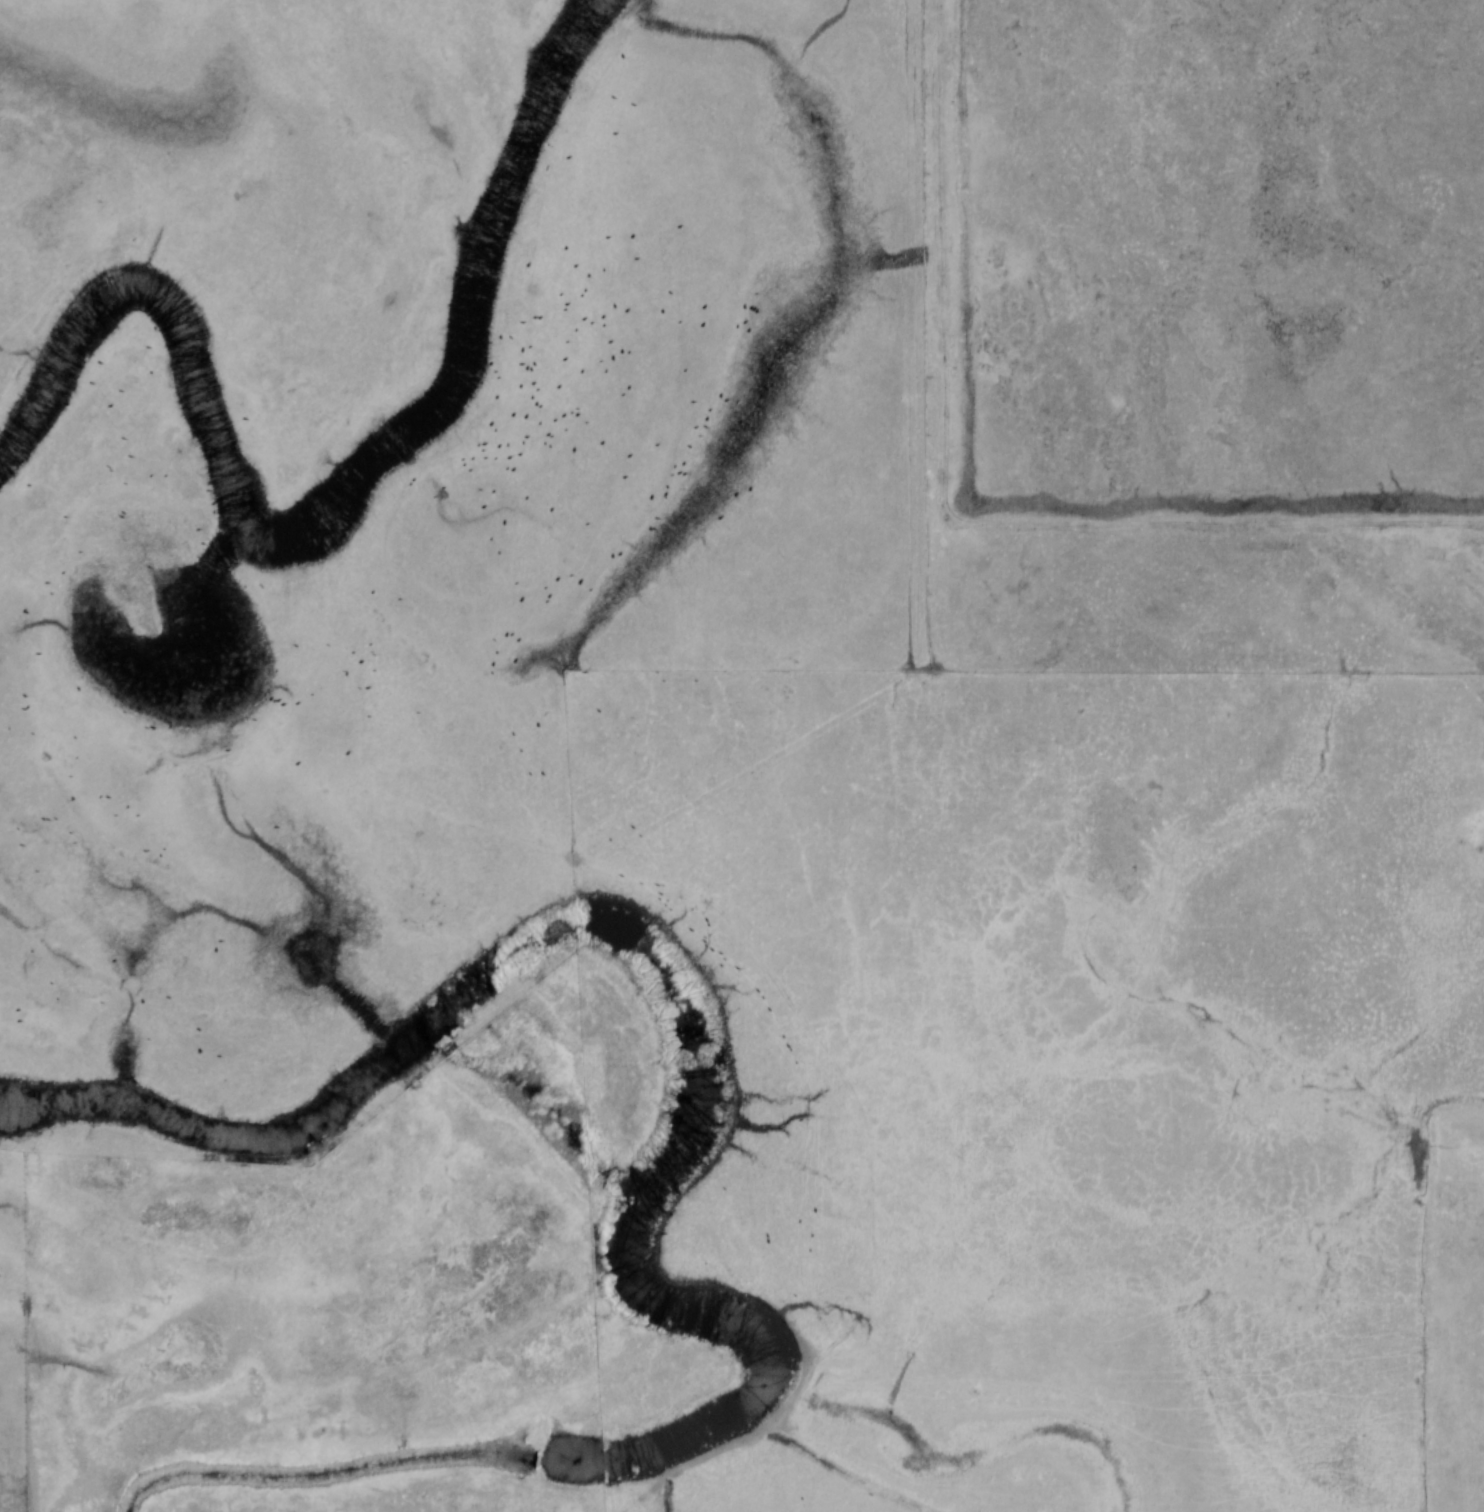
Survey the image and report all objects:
crop: (335, 1307)
crop: (13, 1335)

